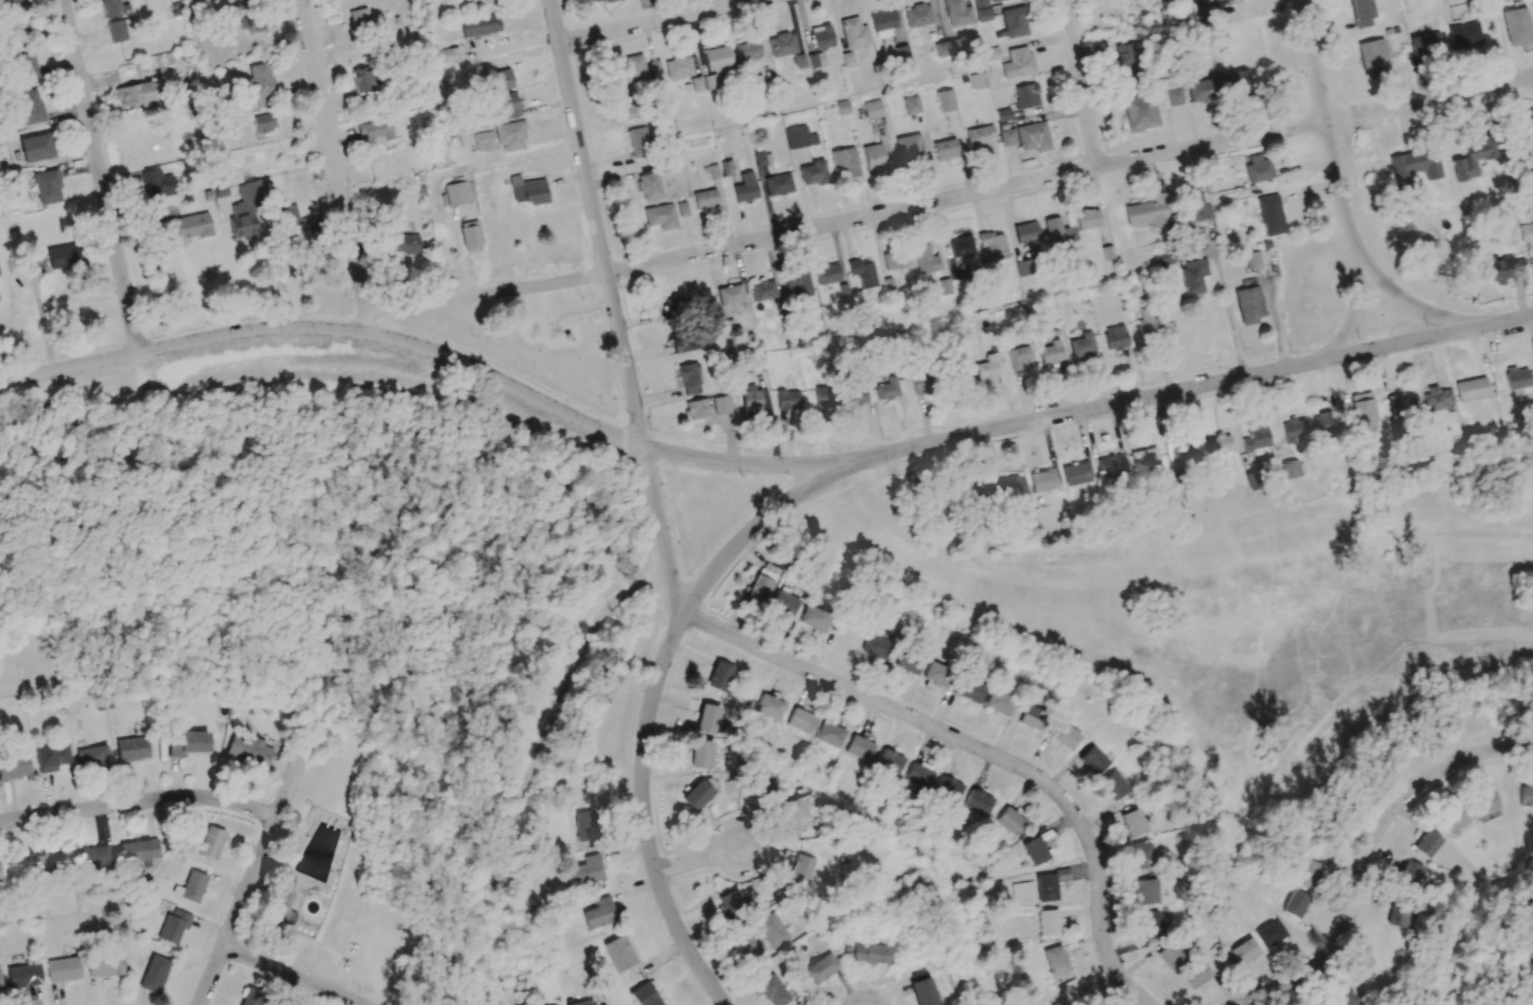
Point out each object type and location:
building: (237, 0)
building: (1218, 0)
building: (600, 1)
building: (8, 2)
building: (480, 2)
building: (981, 3)
building: (114, 8)
building: (1207, 11)
building: (957, 13)
building: (1362, 13)
building: (917, 15)
building: (983, 15)
building: (360, 18)
building: (258, 21)
road: (657, 21)
building: (1014, 22)
building: (883, 23)
building: (480, 25)
building: (1517, 27)
building: (117, 31)
building: (854, 33)
building: (1464, 34)
building: (821, 37)
street lamp: (1077, 43)
building: (782, 45)
building: (1426, 45)
building: (943, 49)
building: (747, 50)
building: (991, 53)
building: (901, 55)
building: (446, 56)
building: (717, 58)
building: (1373, 58)
building: (847, 60)
building: (799, 61)
building: (812, 61)
building: (1018, 63)
building: (1123, 63)
building: (26, 67)
building: (655, 67)
building: (678, 67)
building: (631, 69)
building: (362, 80)
building: (498, 80)
building: (978, 81)
building: (705, 82)
building: (262, 83)
road: (1079, 83)
building: (1234, 84)
building: (1201, 91)
building: (136, 95)
building: (1027, 95)
building: (1174, 97)
building: (945, 100)
building: (505, 104)
building: (911, 105)
building: (30, 107)
building: (842, 107)
building: (631, 109)
building: (873, 109)
building: (1140, 112)
street lamp: (1300, 114)
road: (1324, 118)
building: (1531, 118)
building: (264, 122)
building: (376, 131)
street lamp: (1198, 132)
building: (501, 137)
building: (800, 137)
building: (979, 137)
building: (1027, 137)
building: (639, 142)
building: (37, 147)
building: (911, 148)
building: (946, 148)
street lamp: (1106, 151)
building: (762, 158)
building: (1474, 158)
building: (874, 159)
building: (845, 163)
building: (1415, 166)
road: (335, 168)
building: (726, 168)
building: (1258, 169)
building: (814, 173)
road: (101, 177)
building: (158, 184)
building: (778, 184)
building: (649, 186)
building: (47, 187)
building: (745, 188)
building: (528, 190)
building: (460, 193)
road: (950, 198)
building: (705, 199)
building: (1197, 205)
building: (246, 209)
building: (683, 209)
building: (1148, 211)
building: (1271, 215)
building: (288, 216)
building: (661, 216)
building: (1087, 219)
building: (183, 226)
building: (1026, 232)
building: (1056, 232)
building: (470, 236)
building: (405, 244)
building: (993, 245)
building: (961, 247)
building: (62, 256)
building: (1162, 257)
building: (1252, 259)
building: (890, 260)
building: (925, 260)
building: (863, 272)
road: (272, 273)
building: (827, 274)
building: (1194, 275)
building: (798, 283)
building: (891, 285)
building: (944, 286)
road: (200, 290)
building: (762, 291)
building: (843, 292)
building: (729, 295)
road: (612, 299)
road: (1404, 300)
road: (1356, 302)
building: (1248, 305)
building: (677, 306)
road: (1228, 313)
building: (1148, 324)
road: (329, 330)
building: (1115, 337)
building: (686, 341)
building: (1082, 345)
building: (1050, 352)
building: (987, 366)
building: (690, 378)
building: (1517, 380)
building: (1472, 389)
building: (855, 396)
building: (1436, 399)
building: (788, 400)
building: (751, 402)
building: (723, 404)
building: (697, 409)
building: (1403, 409)
road: (1089, 410)
building: (1326, 424)
building: (1294, 431)
building: (1256, 441)
building: (1217, 446)
building: (1142, 459)
building: (1111, 466)
building: (1292, 469)
building: (1075, 473)
building: (1042, 481)
building: (1010, 486)
road: (805, 491)
building: (981, 493)
building: (934, 507)
road: (721, 562)
building: (760, 589)
building: (783, 604)
building: (813, 618)
building: (875, 646)
building: (909, 662)
building: (720, 676)
building: (936, 676)
building: (971, 690)
building: (998, 702)
building: (769, 706)
building: (708, 718)
building: (1032, 718)
building: (800, 721)
building: (830, 734)
building: (1064, 736)
building: (187, 743)
building: (859, 747)
road: (975, 747)
building: (131, 749)
building: (249, 749)
building: (701, 754)
building: (92, 756)
building: (51, 757)
building: (1092, 760)
building: (889, 761)
building: (14, 766)
road: (536, 768)
building: (918, 774)
building: (760, 782)
building: (1113, 785)
building: (948, 788)
building: (697, 794)
building: (1526, 796)
road: (139, 802)
building: (978, 802)
road: (643, 807)
building: (795, 812)
building: (1453, 819)
building: (1009, 820)
building: (1132, 823)
building: (584, 826)
building: (211, 842)
building: (1427, 843)
building: (1035, 850)
building: (139, 851)
road: (262, 853)
building: (1142, 854)
road: (1365, 854)
building: (92, 857)
road: (699, 859)
building: (45, 864)
building: (802, 868)
building: (586, 870)
building: (1409, 873)
building: (1308, 874)
building: (0, 882)
building: (1050, 884)
building: (191, 887)
building: (1147, 891)
building: (731, 902)
building: (1295, 904)
building: (283, 905)
building: (599, 912)
building: (1399, 913)
building: (1048, 922)
building: (1152, 924)
building: (173, 926)
building: (770, 930)
building: (1270, 933)
building: (753, 946)
building: (1244, 951)
building: (619, 953)
building: (871, 953)
building: (1170, 956)
building: (1055, 959)
building: (104, 964)
building: (62, 969)
building: (820, 969)
building: (154, 974)
building: (23, 975)
building: (1195, 975)
road: (211, 976)
road: (292, 976)
building: (0, 984)
building: (922, 988)
building: (772, 990)
building: (644, 995)
building: (252, 997)
building: (1346, 1000)
building: (584, 1003)

